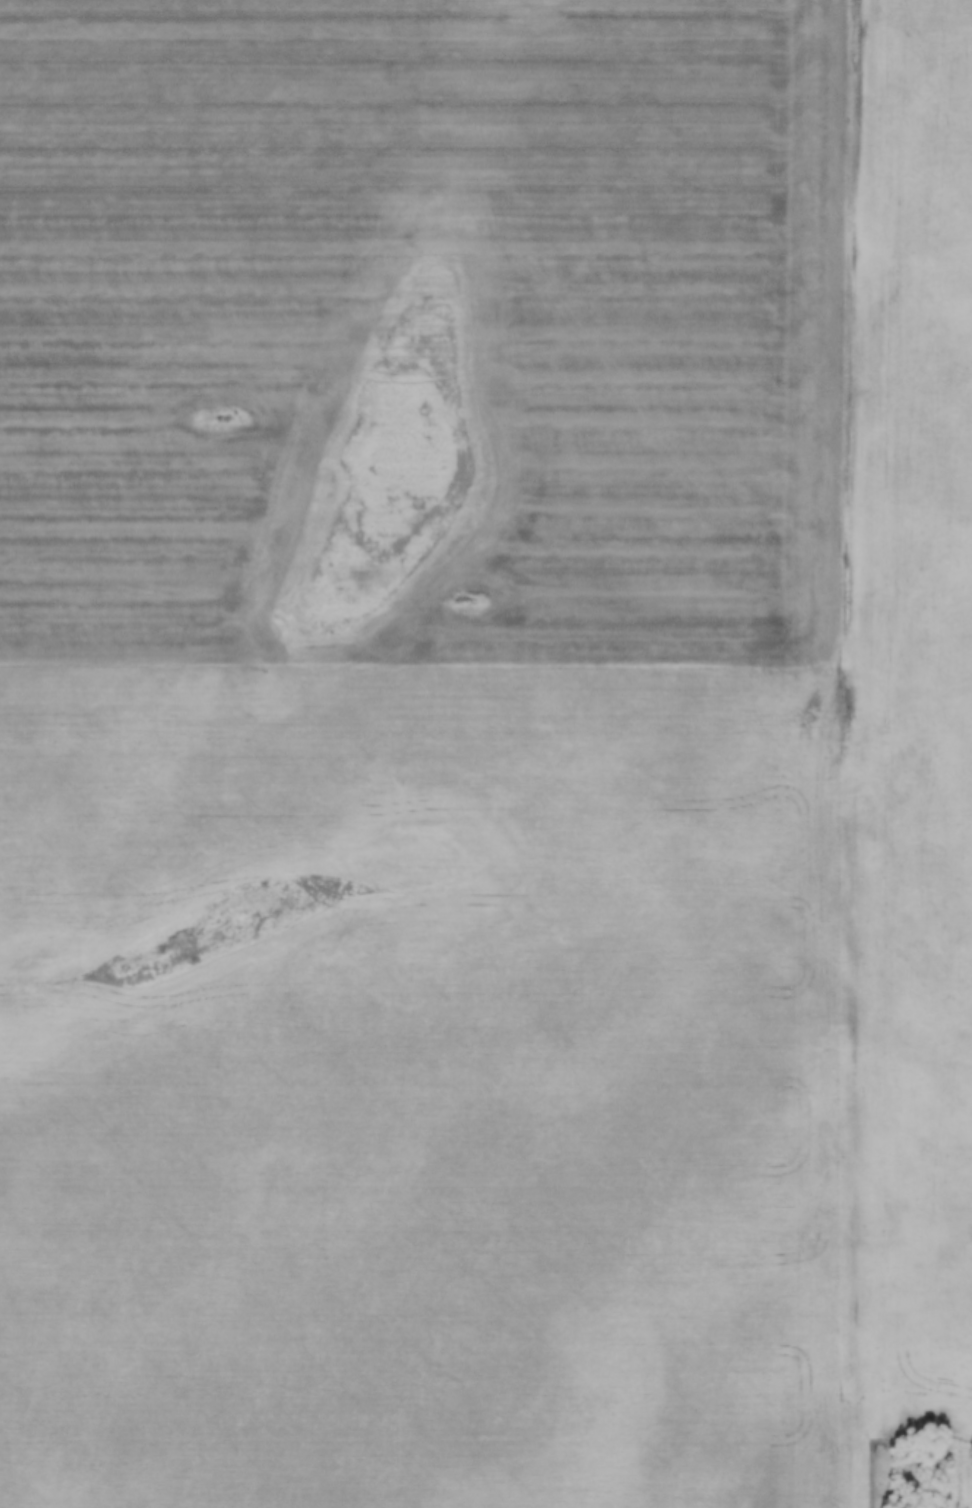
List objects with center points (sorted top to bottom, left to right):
road: (847, 751)

